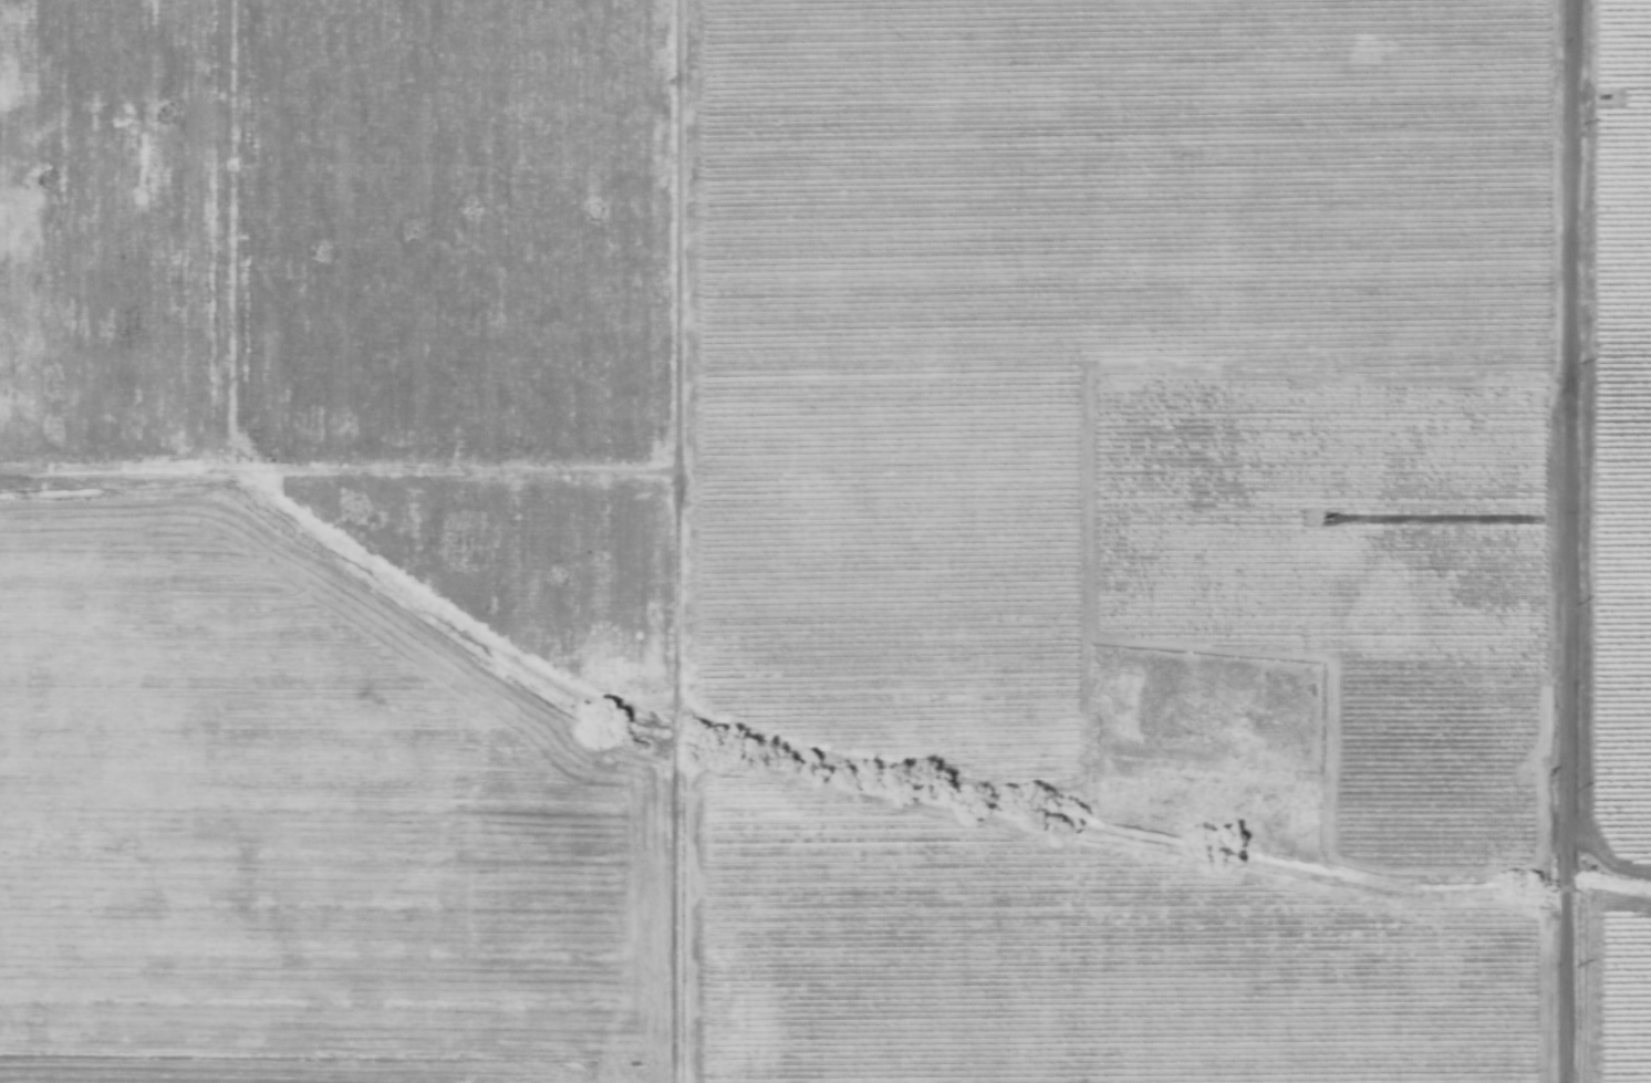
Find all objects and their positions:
building: (1284, 529)
road: (1559, 541)
building: (1382, 614)
building: (636, 744)
building: (458, 783)

